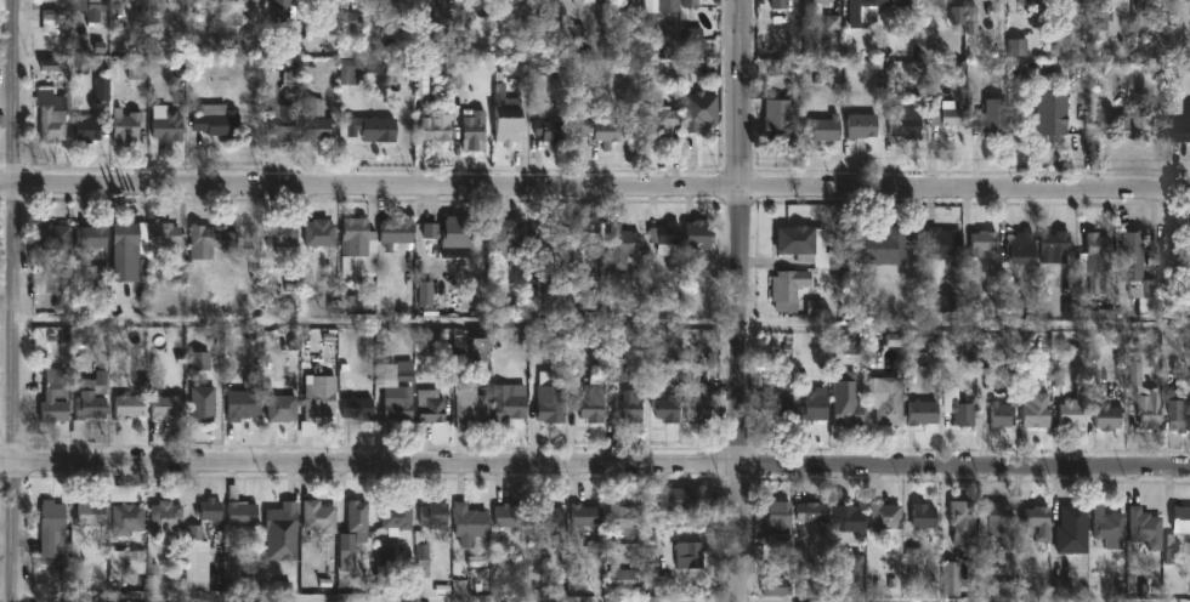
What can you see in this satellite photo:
building: (255, 0)
building: (1183, 0)
building: (208, 1)
building: (520, 1)
building: (443, 2)
building: (693, 2)
building: (1076, 4)
building: (831, 5)
building: (1144, 5)
building: (662, 6)
building: (282, 8)
building: (871, 8)
building: (1035, 12)
building: (790, 16)
building: (351, 27)
building: (696, 44)
building: (1018, 50)
building: (702, 110)
building: (509, 113)
building: (52, 114)
building: (946, 115)
building: (990, 118)
building: (1048, 119)
building: (219, 120)
building: (318, 120)
building: (664, 120)
building: (778, 121)
building: (284, 123)
building: (168, 124)
building: (1129, 124)
building: (127, 125)
building: (862, 126)
building: (908, 126)
building: (1179, 126)
building: (370, 127)
building: (438, 127)
building: (91, 129)
building: (824, 129)
building: (601, 130)
building: (476, 131)
building: (551, 131)
road: (594, 189)
building: (285, 231)
building: (454, 232)
building: (585, 232)
building: (322, 233)
building: (166, 234)
building: (398, 234)
building: (546, 234)
building: (701, 234)
building: (56, 235)
building: (511, 235)
building: (358, 237)
building: (667, 239)
building: (209, 242)
building: (979, 242)
building: (939, 244)
building: (1049, 244)
building: (877, 245)
building: (1093, 245)
building: (624, 246)
building: (815, 246)
building: (1172, 246)
building: (1015, 248)
building: (91, 249)
building: (1129, 249)
building: (131, 251)
building: (1100, 282)
building: (790, 288)
road: (21, 300)
road: (741, 301)
road: (605, 322)
building: (482, 346)
building: (397, 390)
building: (50, 397)
building: (772, 397)
building: (1143, 399)
building: (245, 401)
building: (698, 401)
building: (470, 402)
building: (594, 402)
building: (319, 403)
building: (204, 404)
building: (509, 404)
building: (551, 404)
building: (126, 405)
building: (431, 405)
building: (815, 405)
building: (849, 405)
building: (889, 405)
building: (166, 407)
building: (629, 407)
building: (282, 408)
building: (358, 409)
building: (669, 409)
building: (1177, 409)
building: (1032, 410)
building: (1069, 411)
building: (87, 413)
building: (917, 413)
building: (958, 413)
building: (997, 415)
building: (1105, 416)
road: (595, 464)
building: (682, 499)
building: (211, 510)
building: (242, 511)
building: (814, 512)
building: (91, 513)
building: (623, 515)
building: (399, 516)
building: (437, 516)
building: (510, 516)
building: (549, 516)
building: (589, 516)
building: (884, 516)
building: (1031, 516)
building: (361, 517)
building: (849, 517)
building: (918, 517)
building: (127, 518)
building: (166, 518)
building: (319, 519)
building: (958, 521)
building: (1180, 521)
building: (471, 523)
building: (782, 524)
building: (1105, 527)
building: (1141, 527)
building: (987, 529)
building: (1067, 529)
building: (55, 532)
building: (283, 533)
building: (424, 555)
building: (691, 556)
building: (855, 568)
building: (773, 587)
building: (1062, 589)

